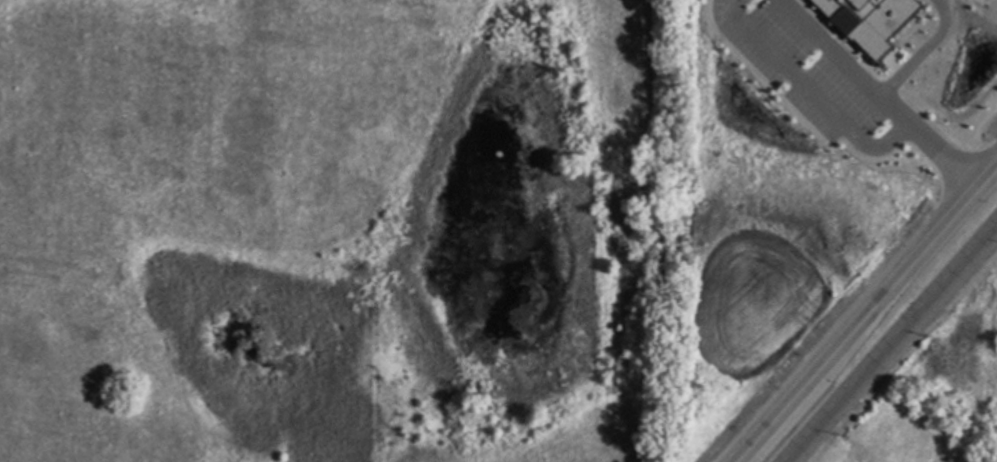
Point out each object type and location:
building: (867, 21)
road: (921, 53)
road: (809, 94)
road: (875, 95)
crop: (329, 230)
road: (864, 314)
road: (890, 340)

